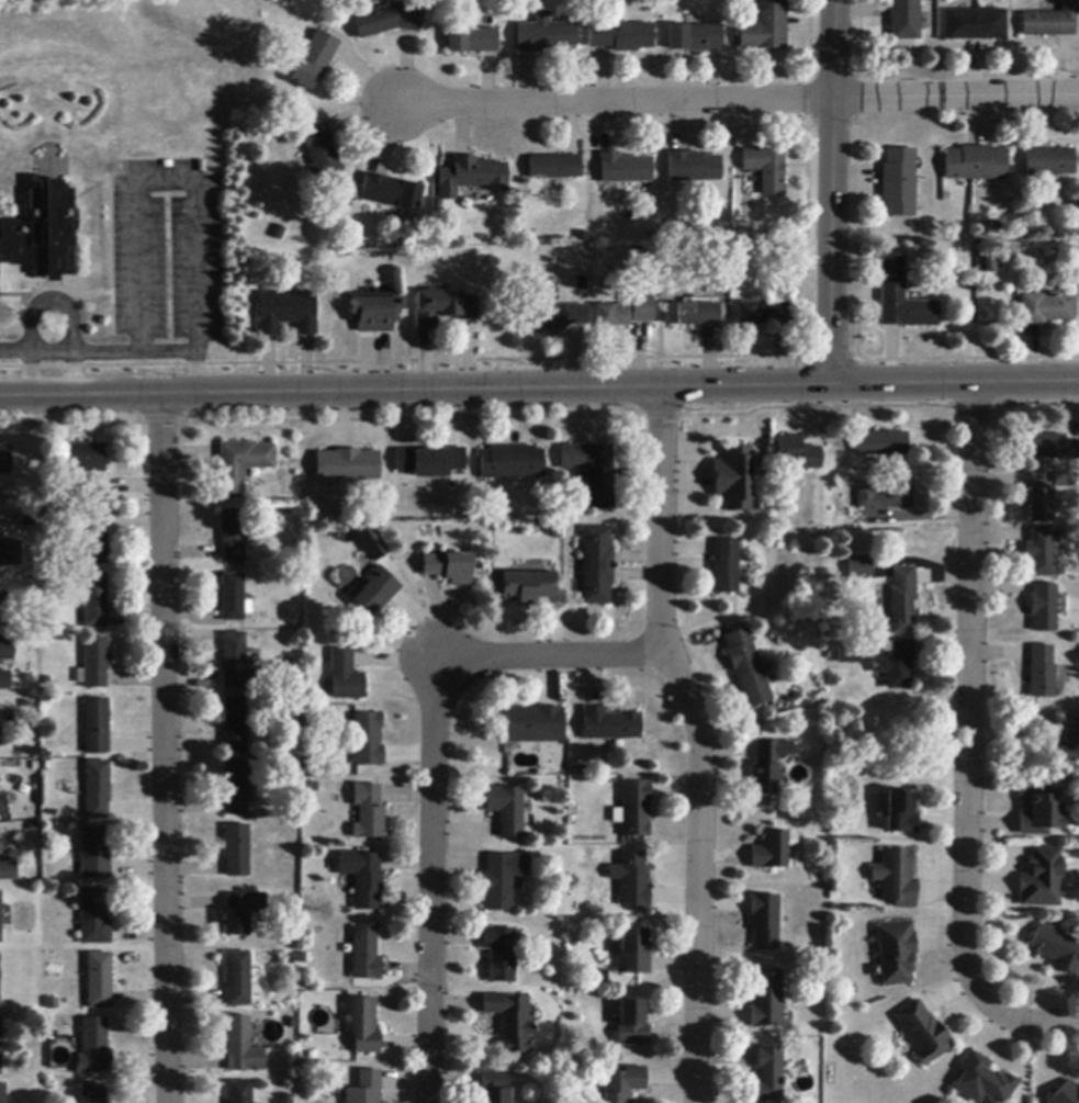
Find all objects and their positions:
building: (903, 20)
building: (389, 21)
building: (1050, 21)
building: (975, 25)
building: (765, 27)
building: (544, 35)
building: (621, 36)
building: (695, 37)
building: (473, 41)
building: (313, 59)
road: (957, 98)
road: (615, 102)
building: (319, 147)
building: (1049, 162)
building: (975, 164)
building: (555, 167)
building: (694, 167)
building: (625, 169)
building: (766, 169)
building: (479, 173)
building: (899, 182)
building: (391, 192)
road: (834, 192)
road: (138, 210)
building: (44, 233)
building: (988, 263)
building: (902, 299)
building: (442, 308)
building: (642, 309)
building: (1045, 309)
building: (286, 313)
building: (374, 313)
building: (763, 313)
building: (693, 315)
building: (612, 316)
building: (559, 317)
road: (172, 354)
road: (32, 375)
road: (76, 375)
road: (539, 390)
building: (879, 444)
building: (1054, 448)
building: (790, 449)
building: (86, 459)
building: (4, 460)
building: (429, 462)
building: (510, 463)
building: (241, 465)
building: (347, 465)
building: (592, 472)
building: (732, 479)
building: (1064, 481)
building: (93, 487)
building: (884, 498)
building: (1041, 504)
building: (808, 514)
building: (233, 536)
building: (94, 538)
building: (9, 552)
building: (1041, 552)
building: (595, 566)
building: (724, 567)
building: (449, 569)
building: (858, 569)
building: (528, 586)
building: (375, 592)
building: (234, 599)
building: (901, 600)
building: (3, 601)
building: (94, 601)
building: (1043, 608)
building: (7, 650)
building: (848, 653)
building: (235, 663)
building: (94, 664)
building: (896, 664)
building: (746, 668)
building: (1041, 673)
building: (345, 676)
building: (4, 680)
building: (235, 725)
building: (532, 725)
building: (609, 725)
building: (97, 727)
building: (1071, 730)
building: (367, 740)
road: (700, 742)
road: (968, 745)
road: (165, 749)
road: (430, 763)
building: (767, 766)
building: (236, 788)
building: (98, 790)
building: (634, 809)
building: (506, 810)
building: (368, 812)
building: (901, 812)
building: (1038, 812)
building: (772, 849)
building: (237, 851)
building: (94, 854)
building: (8, 869)
building: (363, 877)
building: (896, 878)
building: (503, 879)
building: (1041, 879)
building: (631, 880)
building: (243, 912)
building: (1, 918)
building: (95, 918)
building: (764, 922)
building: (1056, 950)
building: (633, 953)
building: (896, 953)
building: (501, 954)
building: (366, 955)
building: (238, 980)
building: (101, 981)
building: (766, 1001)
building: (510, 1022)
building: (362, 1024)
building: (632, 1024)
building: (922, 1033)
building: (0, 1047)
building: (243, 1047)
building: (94, 1048)
building: (767, 1077)
building: (982, 1081)
building: (623, 1084)
building: (495, 1087)
building: (366, 1089)
building: (240, 1092)
building: (3, 1093)
building: (94, 1094)
building: (1067, 1094)

